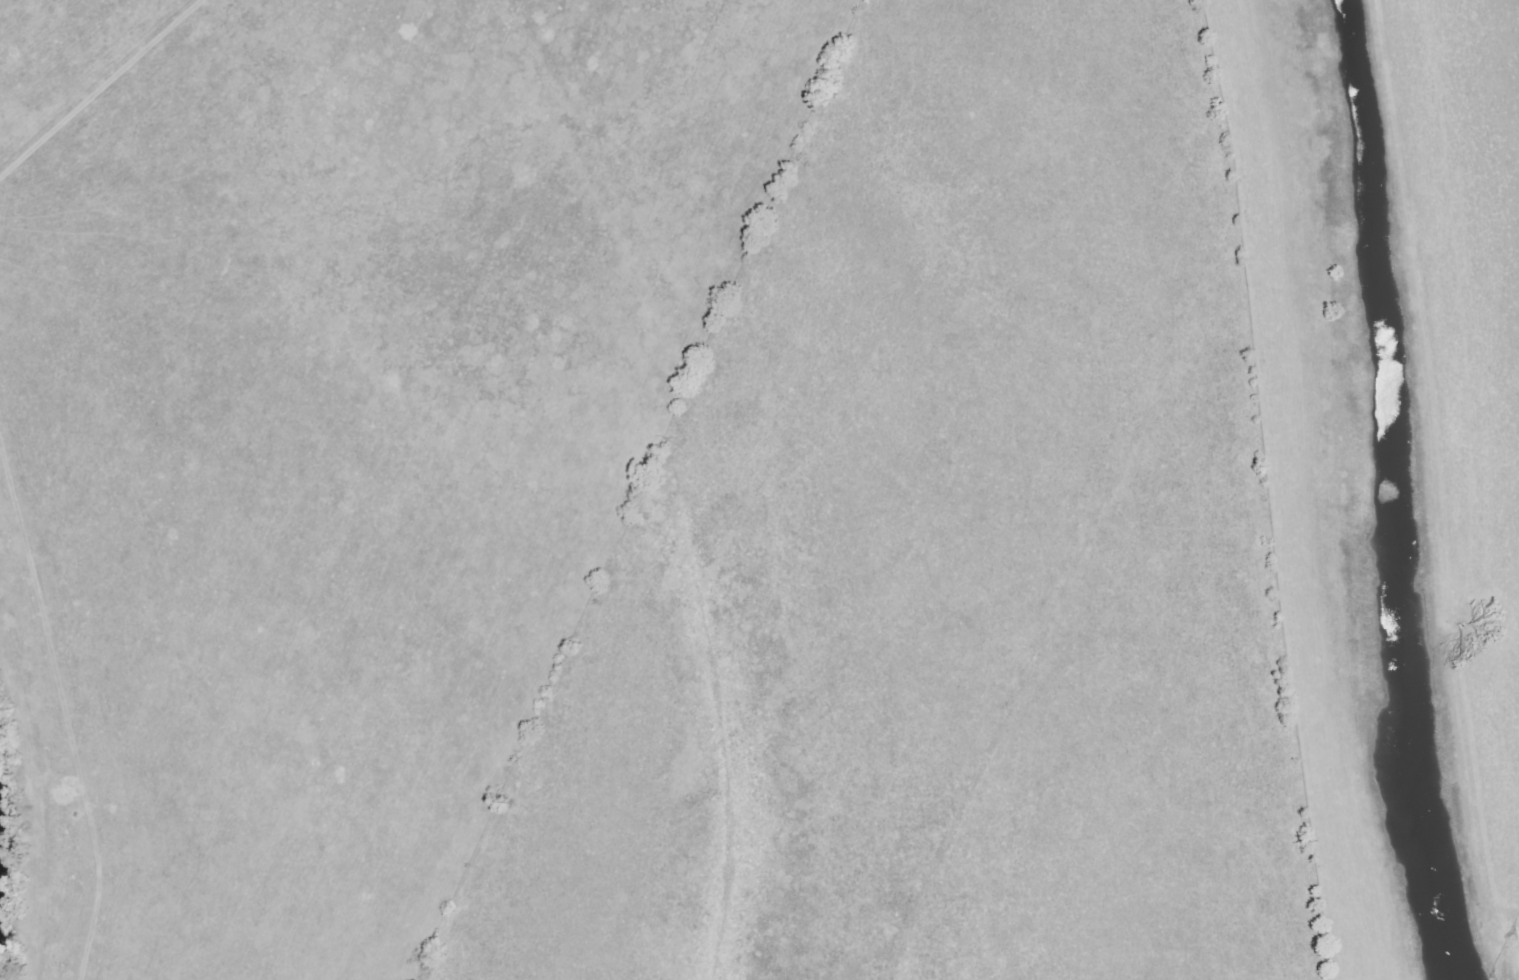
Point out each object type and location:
road: (96, 76)
road: (57, 687)

